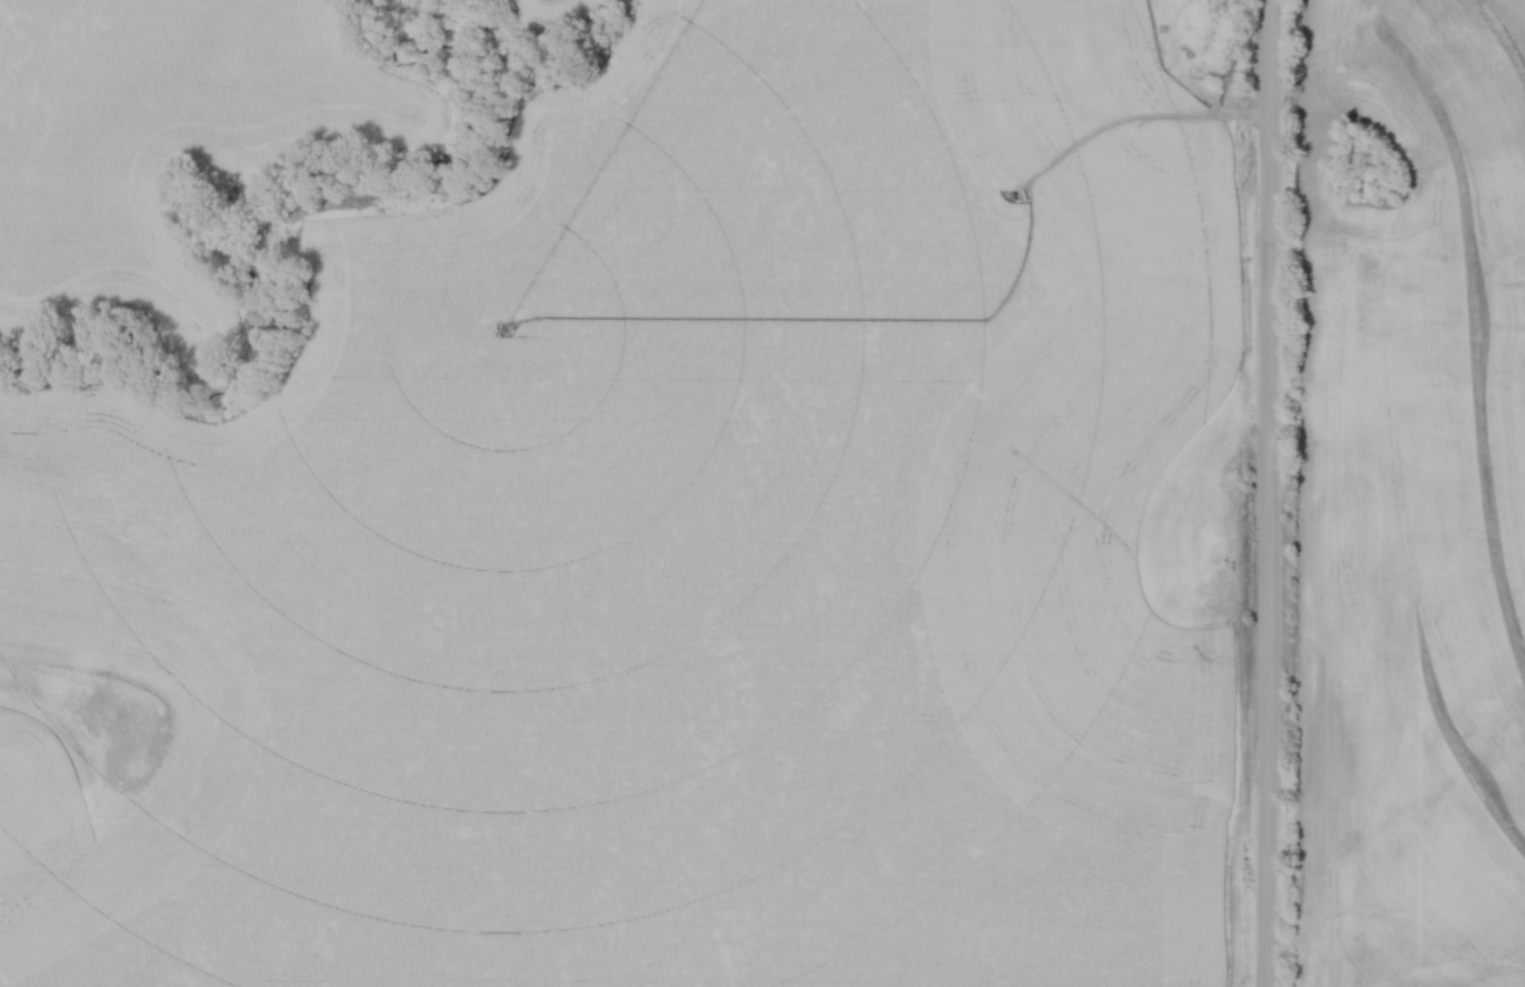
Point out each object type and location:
road: (1149, 113)
road: (1269, 493)

